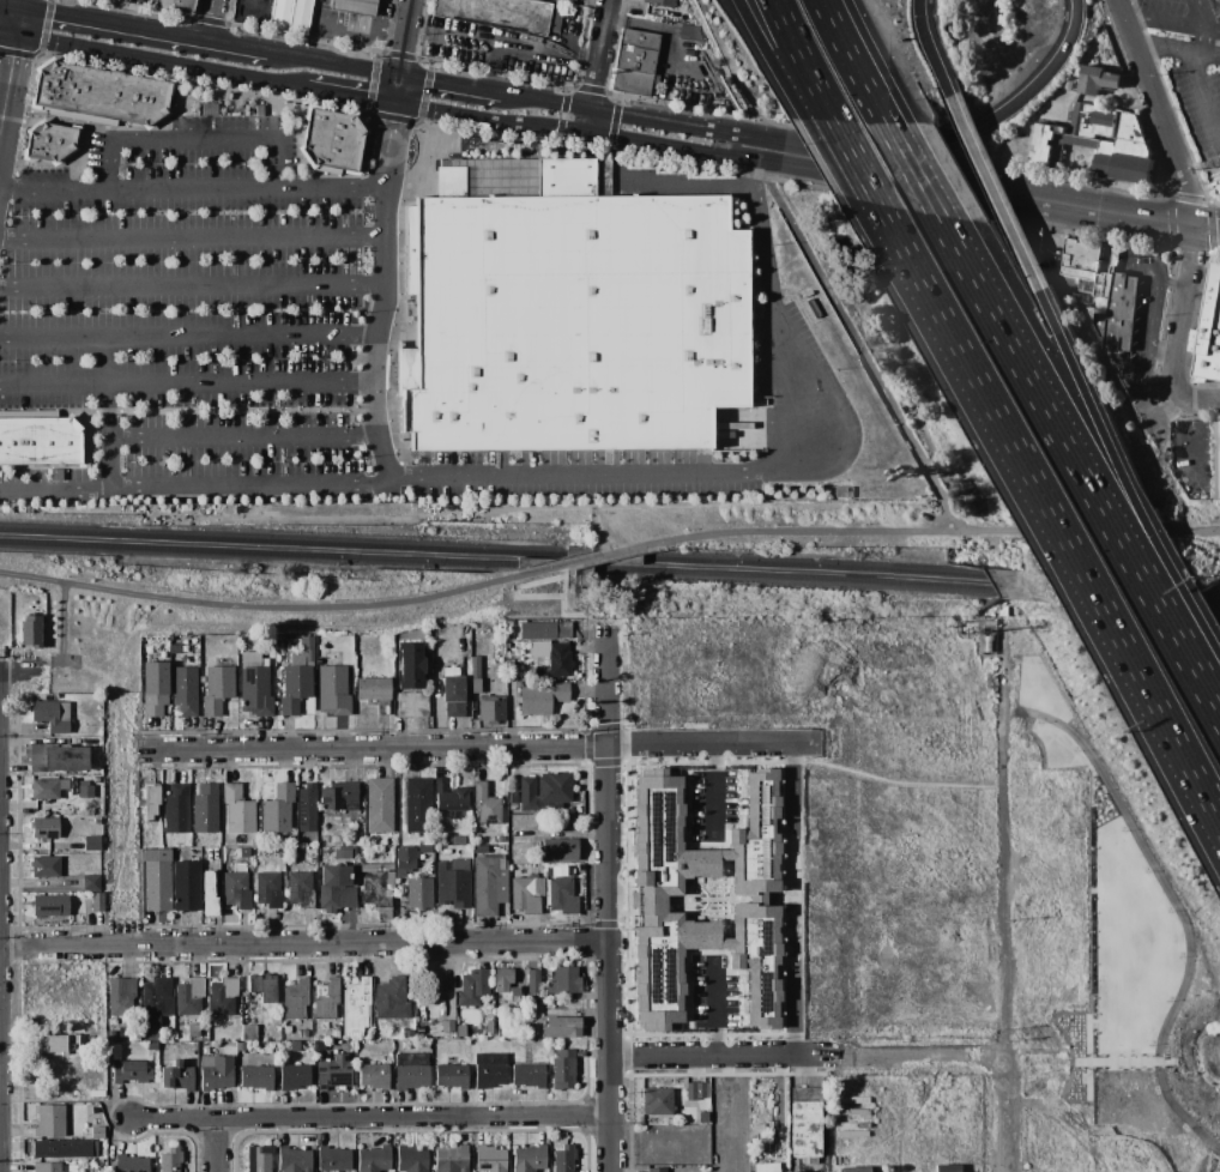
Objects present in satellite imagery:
building: (569, 0)
road: (1216, 1)
road: (18, 2)
building: (658, 2)
road: (825, 2)
road: (825, 2)
road: (8, 4)
traffic signals: (18, 6)
building: (175, 6)
building: (354, 6)
building: (496, 13)
building: (279, 14)
building: (300, 17)
building: (554, 19)
road: (17, 20)
road: (209, 20)
road: (210, 20)
road: (1176, 20)
road: (143, 29)
road: (7, 34)
traffic signals: (16, 36)
road: (351, 36)
road: (791, 37)
road: (759, 40)
road: (1165, 43)
road: (845, 44)
road: (487, 46)
road: (42, 49)
road: (929, 49)
road: (401, 52)
road: (1209, 52)
road: (540, 54)
road: (599, 54)
road: (161, 62)
building: (634, 62)
road: (333, 64)
parking lot: (1190, 64)
traffic signals: (400, 75)
building: (1098, 80)
road: (1197, 81)
road: (445, 83)
road: (7, 84)
building: (1069, 85)
road: (593, 90)
road: (495, 92)
building: (99, 95)
road: (351, 98)
building: (294, 101)
road: (545, 101)
traffic signals: (397, 105)
building: (209, 109)
road: (1005, 109)
building: (259, 110)
road: (587, 120)
road: (421, 121)
road: (490, 122)
road: (738, 137)
building: (49, 141)
building: (331, 141)
building: (1098, 144)
road: (389, 145)
road: (724, 145)
road: (274, 149)
road: (735, 157)
road: (868, 180)
road: (919, 182)
road: (330, 185)
road: (50, 187)
road: (845, 189)
road: (1039, 200)
road: (1190, 200)
road: (997, 201)
road: (1208, 201)
road: (1207, 230)
building: (80, 231)
building: (173, 231)
road: (192, 236)
building: (1080, 260)
building: (1052, 268)
road: (1119, 268)
road: (192, 284)
building: (1103, 284)
road: (383, 286)
building: (808, 294)
road: (1158, 294)
building: (74, 298)
building: (813, 308)
building: (568, 312)
road: (1113, 312)
building: (1121, 313)
building: (1099, 327)
building: (1209, 333)
road: (187, 336)
parking lot: (229, 336)
road: (862, 348)
road: (1144, 377)
road: (1139, 389)
road: (1139, 398)
road: (1207, 401)
road: (246, 433)
road: (109, 436)
building: (41, 442)
building: (1216, 460)
road: (513, 473)
building: (56, 476)
road: (195, 482)
building: (840, 493)
road: (1098, 496)
road: (1137, 503)
park: (1194, 530)
road: (820, 531)
road: (1201, 531)
road: (1073, 552)
railway: (496, 555)
road: (592, 558)
park: (120, 566)
railway: (499, 567)
road: (561, 570)
road: (536, 596)
road: (254, 608)
railway: (1216, 608)
building: (973, 629)
building: (544, 630)
building: (30, 632)
road: (592, 632)
building: (989, 644)
building: (280, 645)
road: (60, 648)
building: (558, 660)
building: (409, 665)
building: (473, 666)
road: (1, 670)
building: (296, 678)
building: (254, 687)
building: (476, 687)
building: (153, 688)
building: (217, 689)
building: (373, 689)
building: (183, 690)
building: (332, 690)
building: (452, 696)
road: (113, 699)
building: (542, 700)
building: (412, 705)
building: (491, 709)
building: (52, 715)
street lamp: (1038, 724)
road: (121, 738)
road: (709, 739)
street lamp: (1075, 750)
road: (380, 753)
building: (56, 757)
road: (790, 779)
building: (97, 780)
road: (895, 781)
road: (712, 786)
building: (44, 789)
building: (84, 790)
street lamp: (1100, 790)
building: (544, 791)
building: (339, 797)
building: (449, 798)
building: (513, 798)
building: (149, 802)
building: (417, 805)
building: (485, 805)
building: (379, 806)
building: (306, 808)
building: (175, 809)
building: (204, 809)
building: (237, 810)
building: (277, 810)
building: (44, 828)
street lamp: (1125, 833)
building: (527, 835)
road: (121, 840)
building: (321, 840)
building: (501, 840)
building: (337, 841)
building: (455, 841)
building: (91, 844)
building: (167, 844)
building: (481, 850)
building: (557, 850)
building: (244, 853)
building: (344, 853)
building: (409, 859)
building: (44, 866)
street lamp: (1147, 872)
building: (87, 882)
building: (156, 883)
building: (453, 883)
building: (488, 883)
building: (185, 886)
building: (333, 886)
building: (378, 888)
building: (267, 889)
building: (235, 890)
building: (300, 890)
building: (207, 894)
building: (418, 894)
building: (526, 894)
crop: (907, 895)
building: (560, 896)
building: (702, 899)
building: (95, 901)
road: (612, 901)
building: (49, 906)
road: (1176, 907)
street lamp: (1168, 912)
road: (4, 920)
road: (1004, 922)
road: (309, 946)
street lamp: (1182, 957)
building: (503, 980)
building: (563, 981)
building: (533, 983)
building: (473, 987)
building: (261, 989)
building: (120, 996)
building: (222, 997)
building: (188, 998)
building: (295, 999)
building: (326, 999)
building: (391, 999)
street lamp: (1168, 1001)
building: (155, 1002)
building: (356, 1007)
road: (713, 1011)
building: (567, 1013)
road: (791, 1015)
building: (324, 1026)
building: (446, 1027)
building: (561, 1028)
building: (489, 1029)
building: (286, 1031)
building: (249, 1033)
building: (460, 1033)
building: (334, 1034)
building: (407, 1034)
building: (304, 1035)
building: (55, 1044)
street lamp: (1153, 1045)
building: (151, 1046)
building: (240, 1047)
building: (294, 1047)
road: (1087, 1057)
road: (1125, 1061)
road: (810, 1062)
building: (411, 1065)
building: (489, 1070)
building: (563, 1070)
building: (129, 1073)
building: (333, 1073)
building: (217, 1075)
building: (373, 1076)
building: (529, 1076)
building: (176, 1077)
building: (255, 1077)
building: (292, 1077)
building: (451, 1077)
road: (2, 1080)
building: (695, 1091)
street lamp: (1155, 1092)
building: (657, 1102)
building: (702, 1112)
road: (373, 1119)
building: (970, 1120)
building: (49, 1122)
building: (804, 1123)
street lamp: (1185, 1130)
building: (97, 1132)
road: (223, 1146)
building: (64, 1149)
building: (258, 1158)
building: (333, 1159)
building: (373, 1159)
building: (410, 1159)
building: (451, 1159)
building: (489, 1159)
building: (529, 1159)
building: (563, 1159)
building: (169, 1160)
building: (294, 1160)
street lamp: (1216, 1162)
building: (131, 1164)
building: (47, 1167)
building: (767, 1167)
building: (886, 1168)
building: (946, 1168)
building: (657, 1170)
building: (854, 1170)

